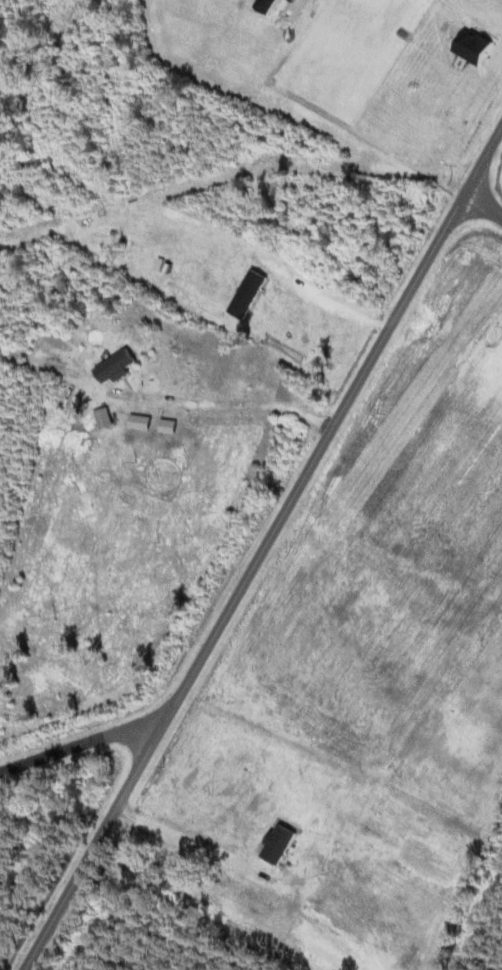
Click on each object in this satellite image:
road: (484, 195)
road: (262, 547)
road: (78, 735)
building: (190, 833)

